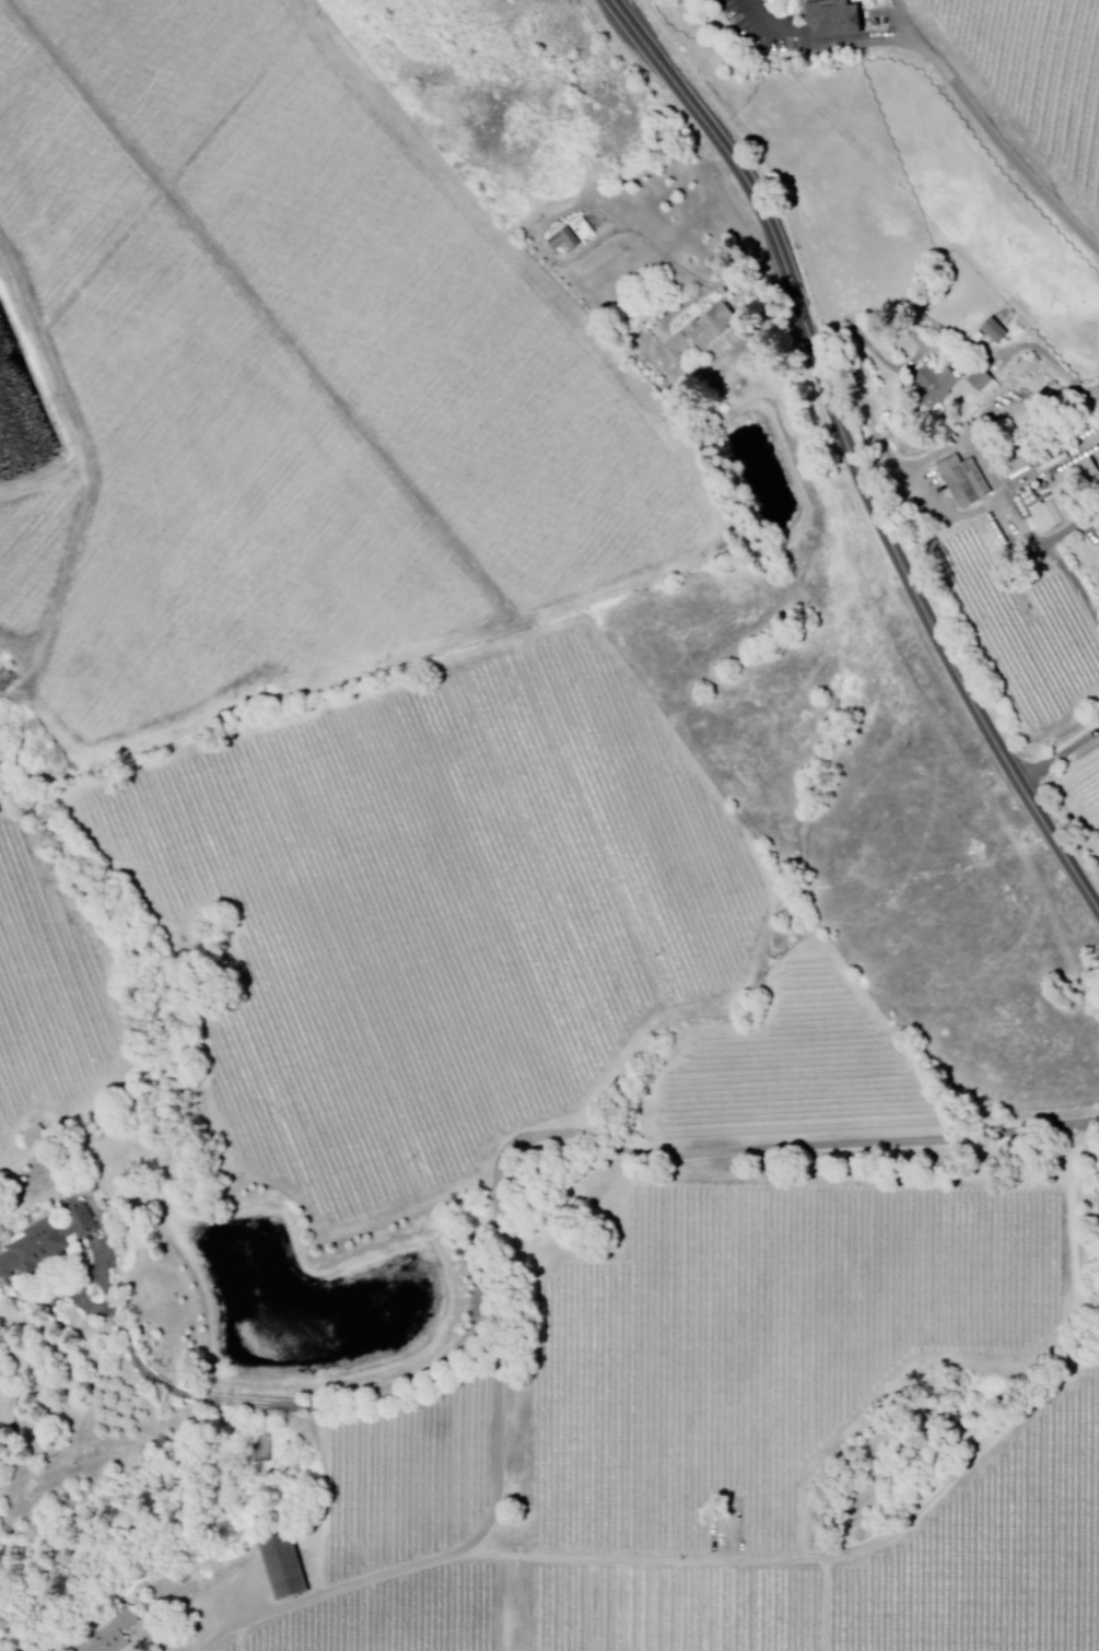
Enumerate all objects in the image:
building: (842, 19)
road: (764, 28)
building: (571, 235)
building: (994, 330)
building: (699, 332)
building: (935, 383)
building: (982, 383)
road: (855, 452)
building: (1087, 466)
building: (962, 481)
building: (1051, 515)
building: (4, 678)
road: (1061, 763)
building: (31, 1135)
building: (46, 1239)
road: (764, 1327)
building: (282, 1567)
building: (107, 1635)

